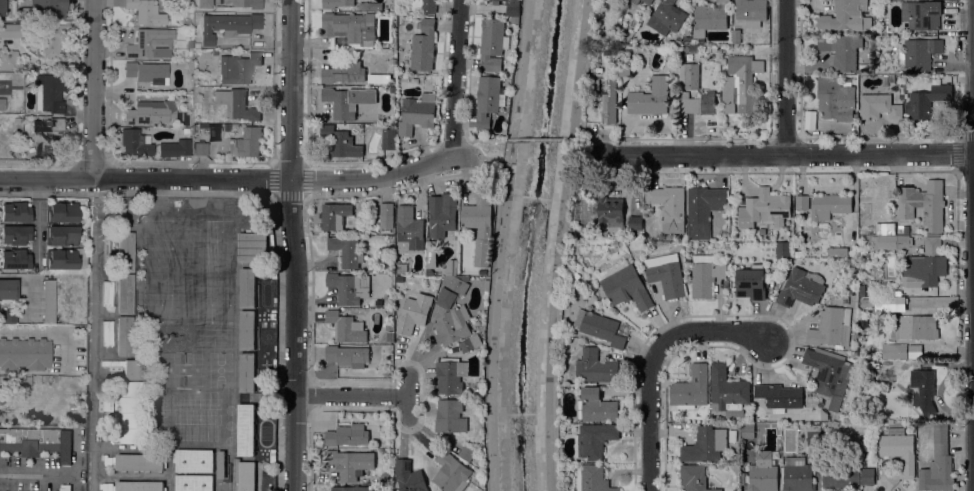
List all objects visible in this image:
building: (504, 0)
building: (635, 1)
building: (648, 1)
building: (496, 2)
building: (246, 3)
building: (336, 3)
building: (370, 6)
building: (428, 6)
building: (2, 8)
building: (45, 9)
building: (514, 10)
building: (146, 12)
building: (751, 12)
building: (921, 14)
building: (846, 16)
building: (666, 17)
building: (709, 18)
building: (227, 26)
building: (347, 26)
building: (11, 30)
building: (736, 36)
building: (50, 40)
building: (678, 40)
building: (150, 44)
building: (493, 44)
building: (423, 45)
building: (685, 48)
building: (841, 50)
building: (214, 52)
building: (918, 53)
building: (8, 59)
building: (722, 61)
building: (239, 69)
building: (623, 69)
building: (147, 72)
building: (344, 72)
building: (390, 72)
building: (688, 75)
road: (785, 77)
road: (454, 78)
building: (891, 78)
building: (371, 79)
building: (916, 81)
building: (595, 84)
building: (740, 84)
road: (92, 89)
road: (289, 89)
building: (392, 89)
building: (49, 92)
building: (649, 97)
building: (347, 100)
building: (488, 100)
building: (926, 100)
building: (698, 102)
building: (2, 103)
building: (837, 103)
building: (236, 104)
building: (609, 104)
building: (878, 106)
building: (150, 111)
building: (417, 113)
building: (189, 122)
building: (194, 127)
building: (47, 136)
road: (592, 138)
building: (388, 140)
road: (479, 140)
road: (542, 140)
building: (340, 141)
building: (134, 143)
building: (245, 143)
building: (174, 148)
building: (200, 149)
road: (784, 153)
road: (227, 178)
building: (802, 202)
building: (923, 204)
building: (830, 205)
building: (668, 207)
building: (702, 208)
building: (764, 208)
building: (610, 210)
building: (15, 212)
building: (61, 212)
building: (442, 214)
building: (334, 215)
building: (386, 215)
building: (635, 222)
building: (480, 226)
building: (906, 230)
building: (410, 231)
building: (15, 235)
building: (61, 236)
building: (886, 236)
road: (500, 244)
road: (559, 244)
building: (251, 247)
building: (782, 250)
building: (346, 251)
building: (837, 251)
building: (125, 252)
building: (15, 259)
building: (66, 260)
building: (852, 260)
building: (925, 265)
building: (401, 268)
building: (665, 274)
building: (576, 275)
building: (705, 275)
building: (751, 282)
road: (27, 283)
building: (456, 283)
building: (725, 283)
building: (486, 284)
building: (624, 285)
building: (247, 287)
road: (294, 287)
building: (347, 288)
building: (801, 288)
building: (8, 289)
building: (861, 290)
building: (125, 294)
building: (446, 297)
building: (48, 301)
building: (885, 303)
building: (414, 313)
building: (8, 316)
building: (452, 325)
building: (347, 327)
building: (599, 327)
building: (915, 327)
building: (831, 328)
building: (622, 329)
building: (247, 330)
road: (46, 331)
building: (107, 333)
building: (124, 336)
building: (389, 337)
building: (471, 344)
building: (894, 351)
building: (915, 351)
building: (24, 354)
building: (852, 354)
building: (348, 355)
road: (650, 358)
building: (596, 366)
building: (128, 368)
building: (246, 372)
building: (451, 375)
building: (828, 375)
building: (884, 378)
building: (26, 381)
building: (4, 382)
building: (691, 389)
building: (923, 390)
building: (727, 393)
building: (779, 395)
road: (352, 397)
building: (597, 405)
building: (74, 407)
building: (129, 412)
building: (450, 416)
building: (835, 418)
building: (912, 422)
building: (245, 430)
building: (749, 430)
building: (813, 434)
building: (347, 435)
building: (732, 435)
building: (594, 440)
building: (37, 442)
road: (294, 443)
building: (705, 444)
building: (466, 452)
building: (897, 455)
building: (194, 460)
building: (139, 462)
building: (349, 463)
building: (938, 463)
building: (220, 464)
road: (36, 471)
building: (451, 472)
building: (763, 473)
building: (235, 474)
building: (797, 474)
building: (247, 475)
building: (409, 476)
building: (847, 477)
building: (592, 478)
building: (694, 478)
building: (193, 482)
building: (139, 486)
building: (65, 487)
building: (351, 488)

